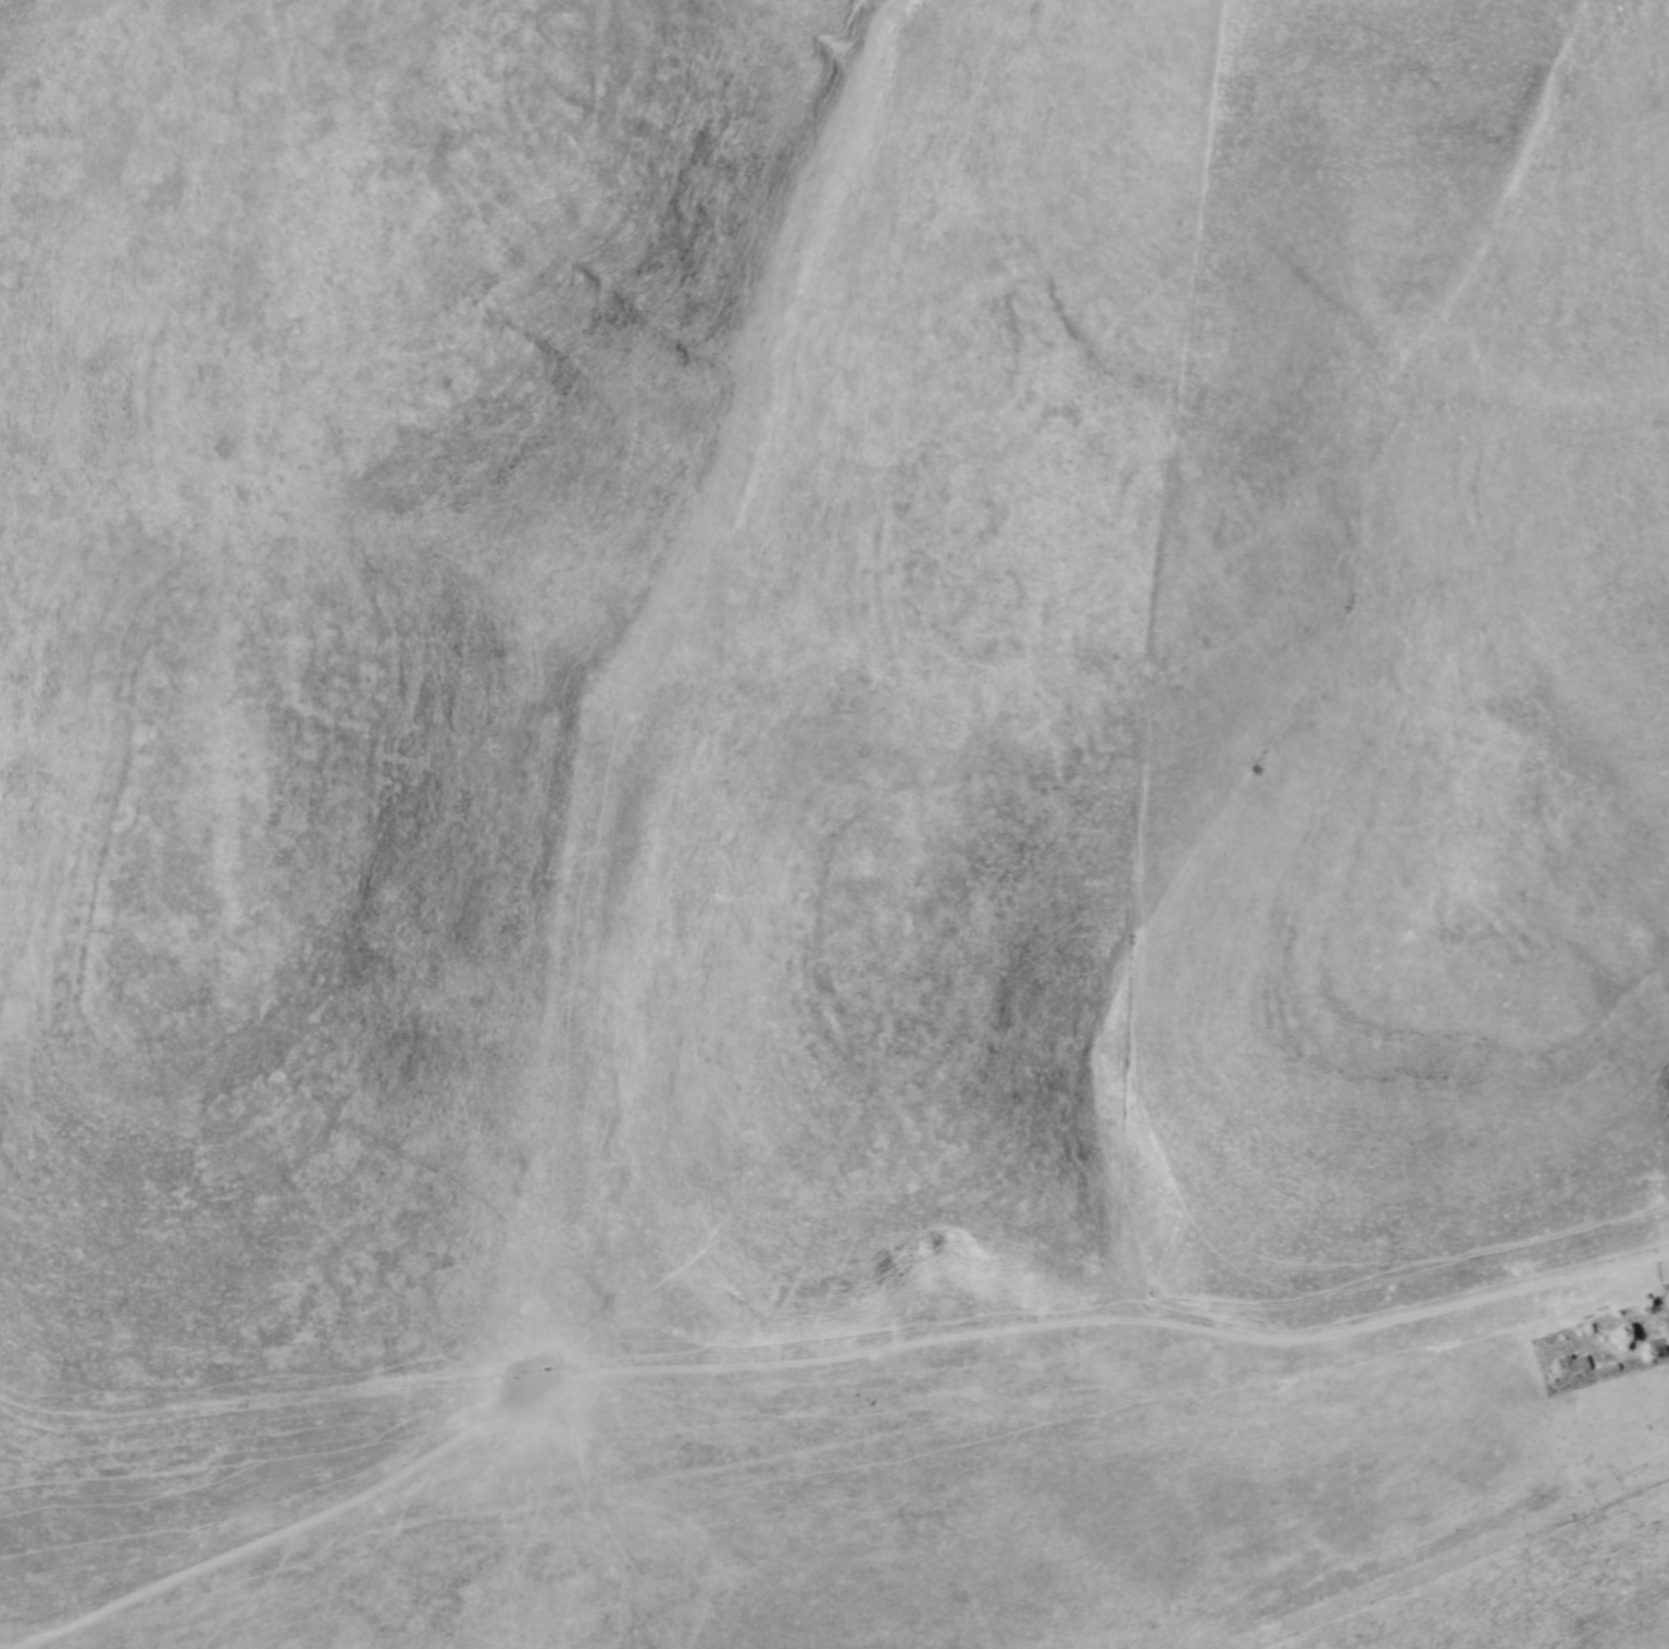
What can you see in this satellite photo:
building: (1561, 1364)
road: (810, 1380)

